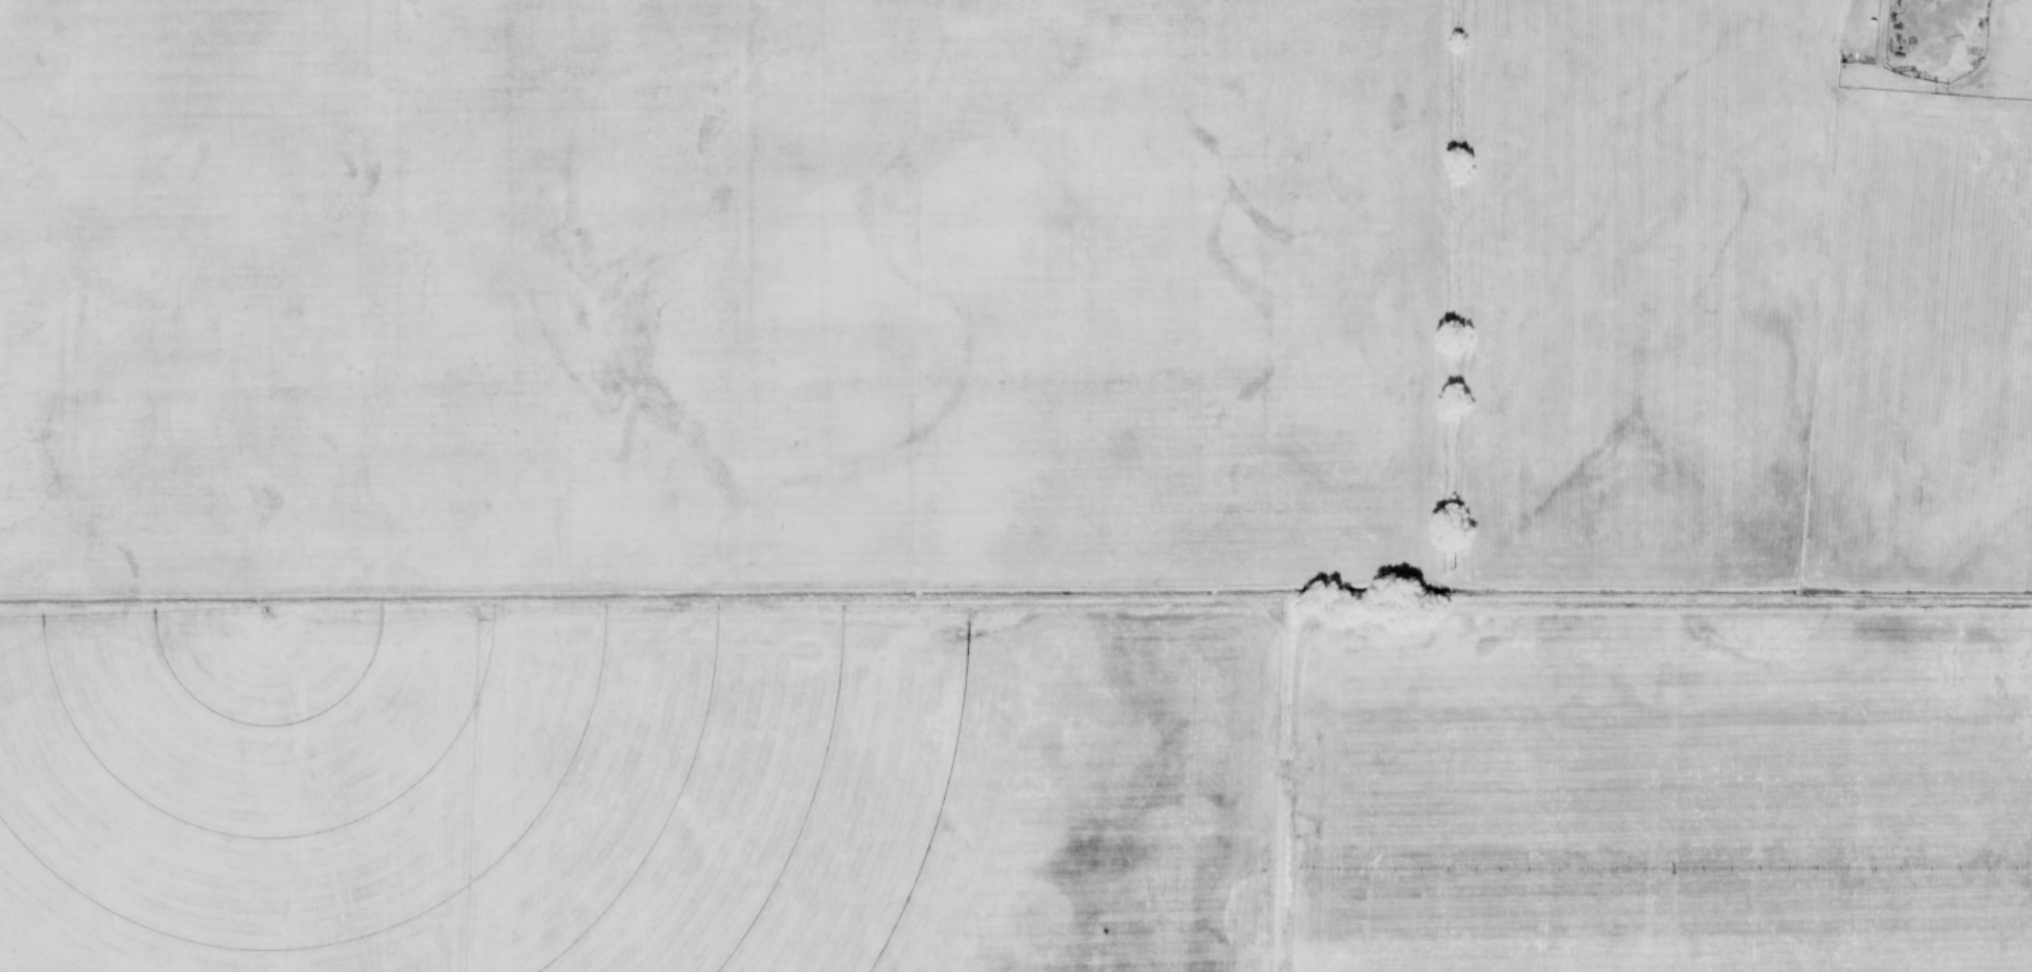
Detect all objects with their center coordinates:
building: (1858, 32)

